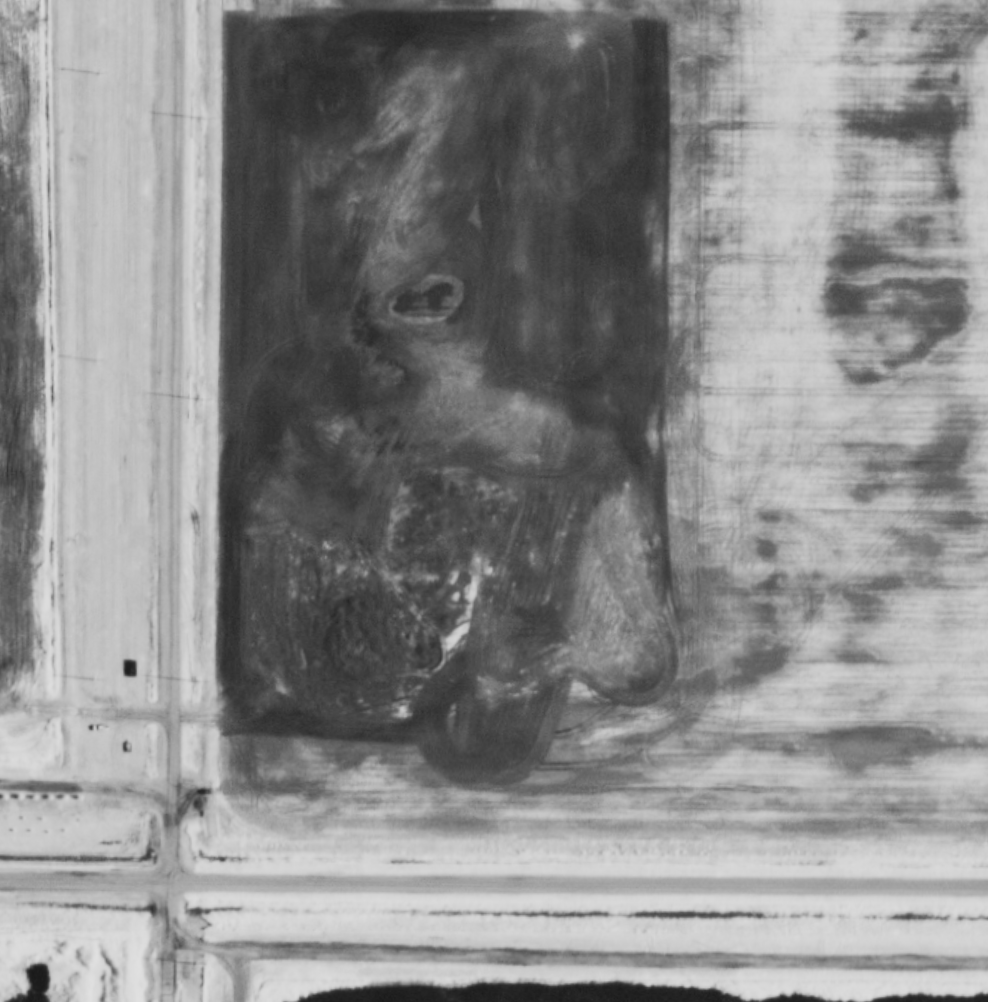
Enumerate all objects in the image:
crop: (30, 366)
road: (175, 501)
road: (493, 886)

